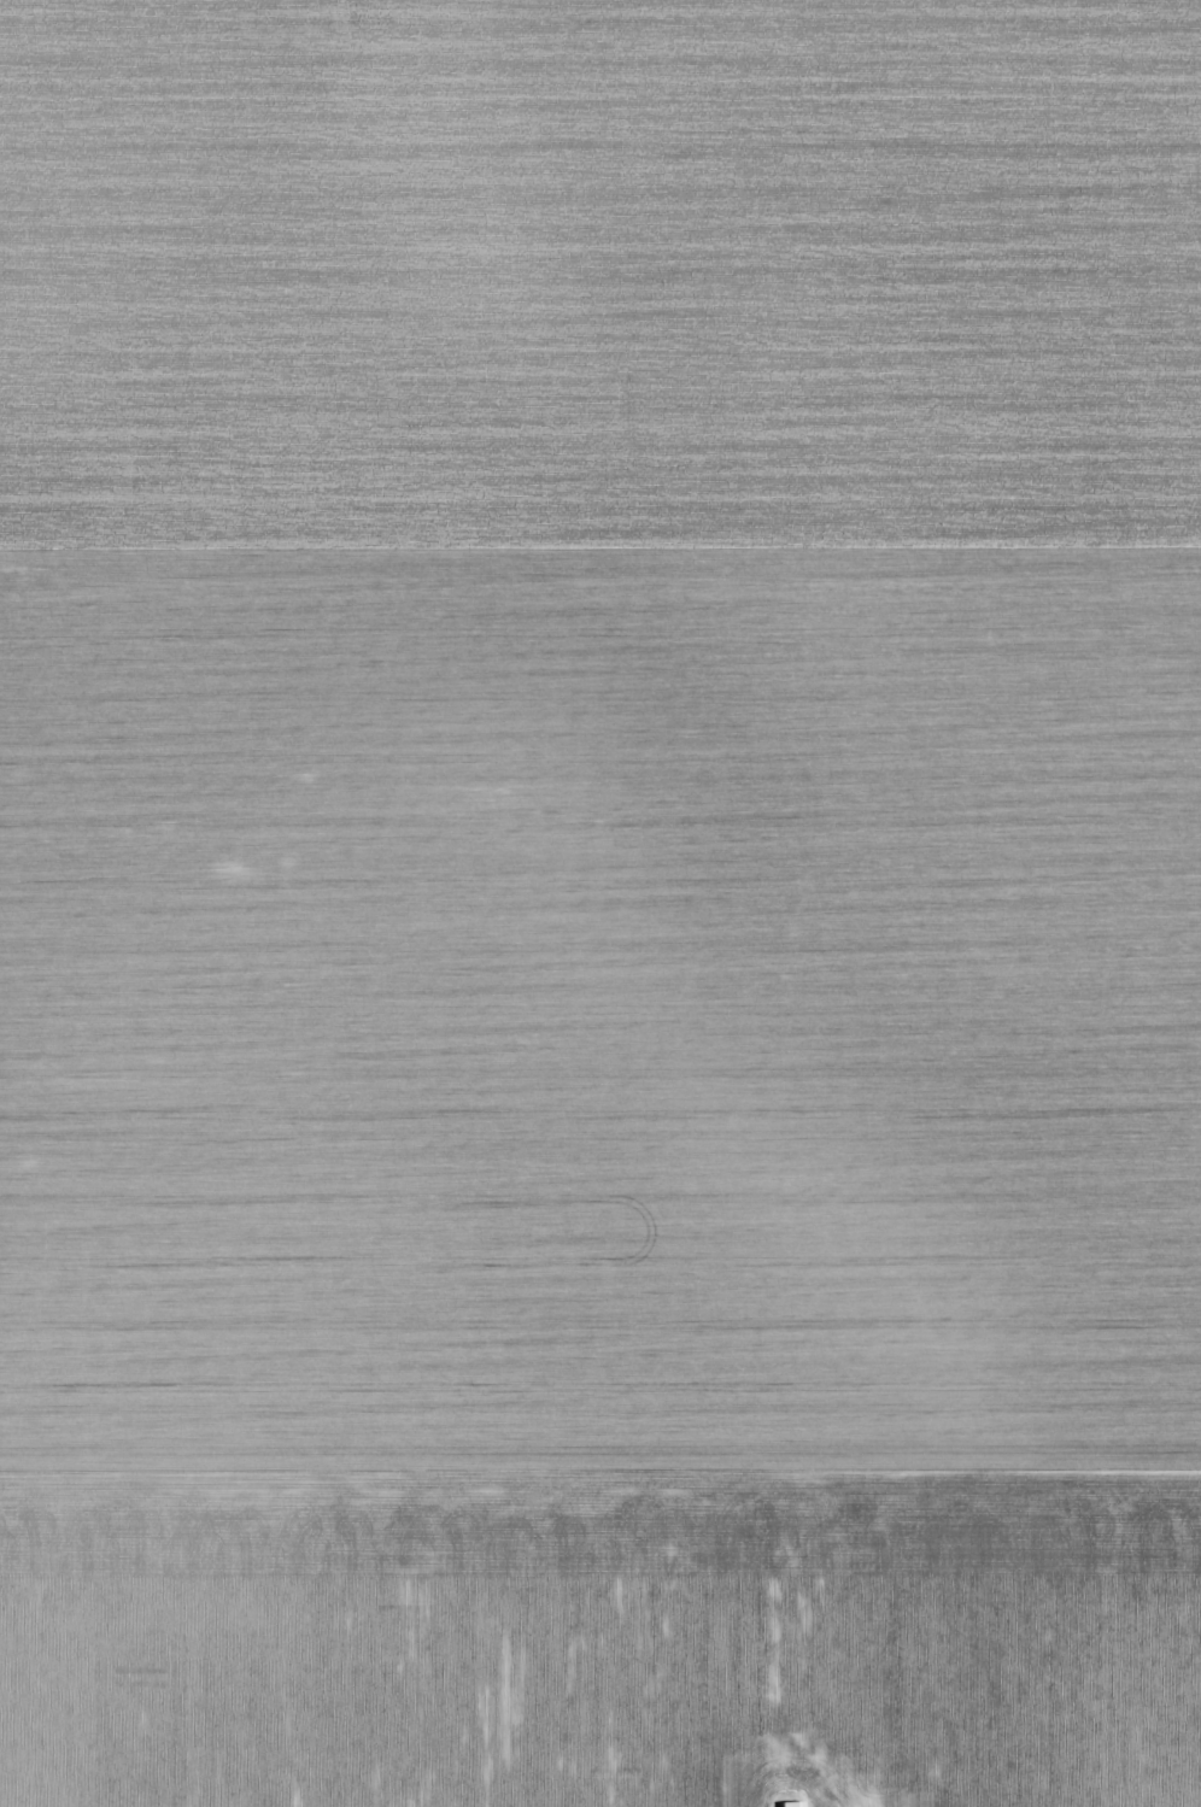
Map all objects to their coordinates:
building: (793, 1803)

